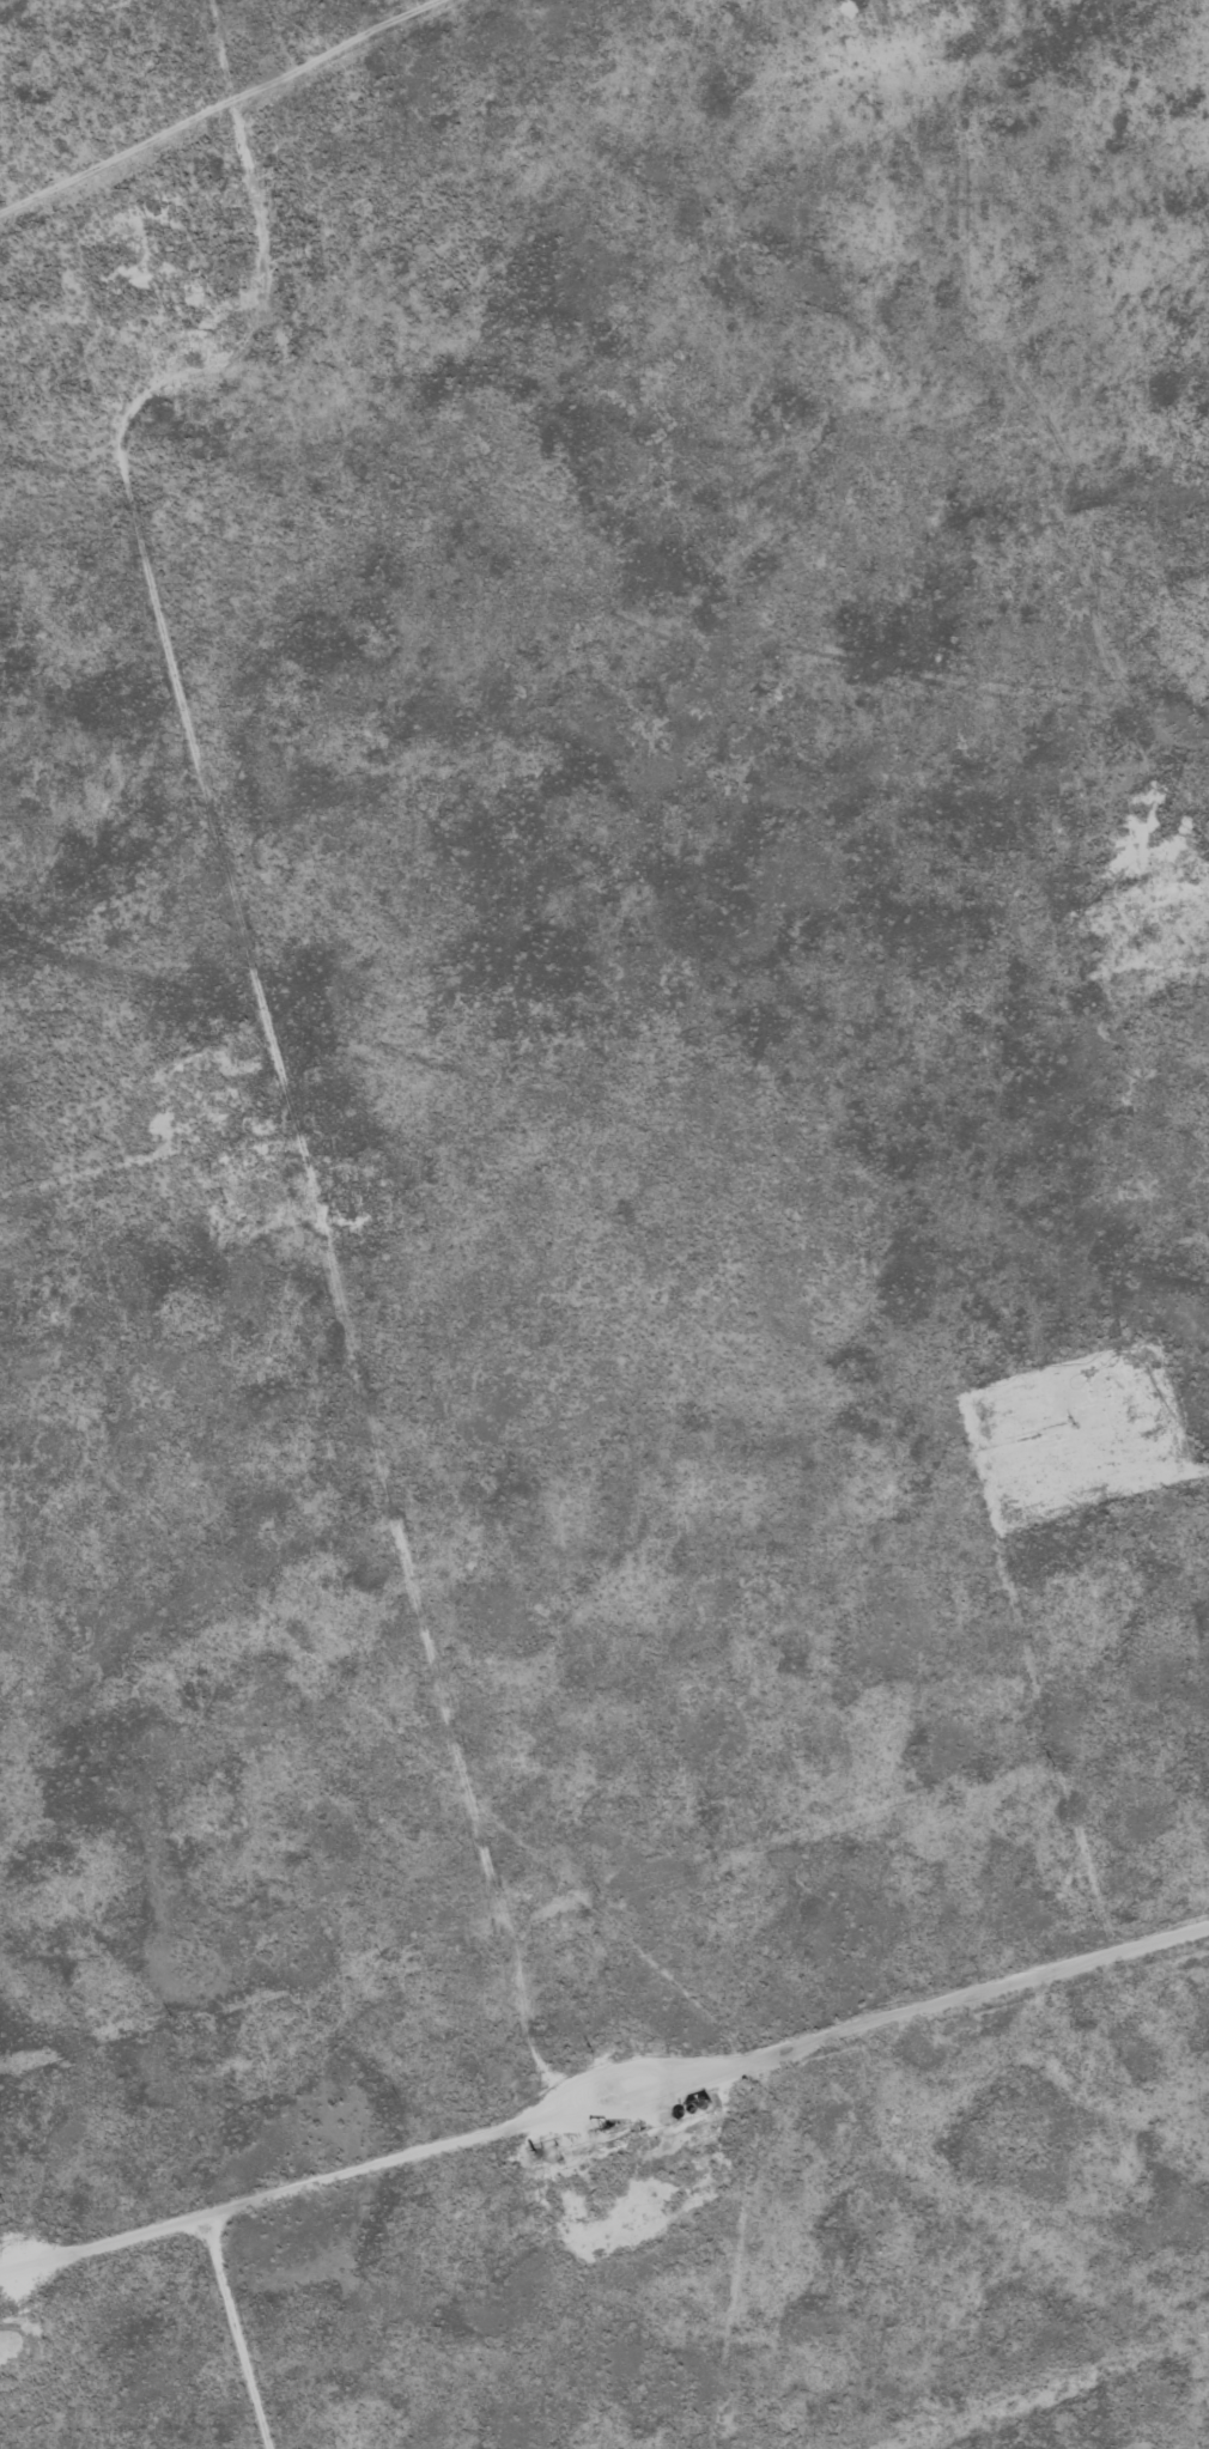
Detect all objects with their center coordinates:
road: (992, 476)
road: (237, 1086)
road: (132, 1195)
road: (604, 2198)

